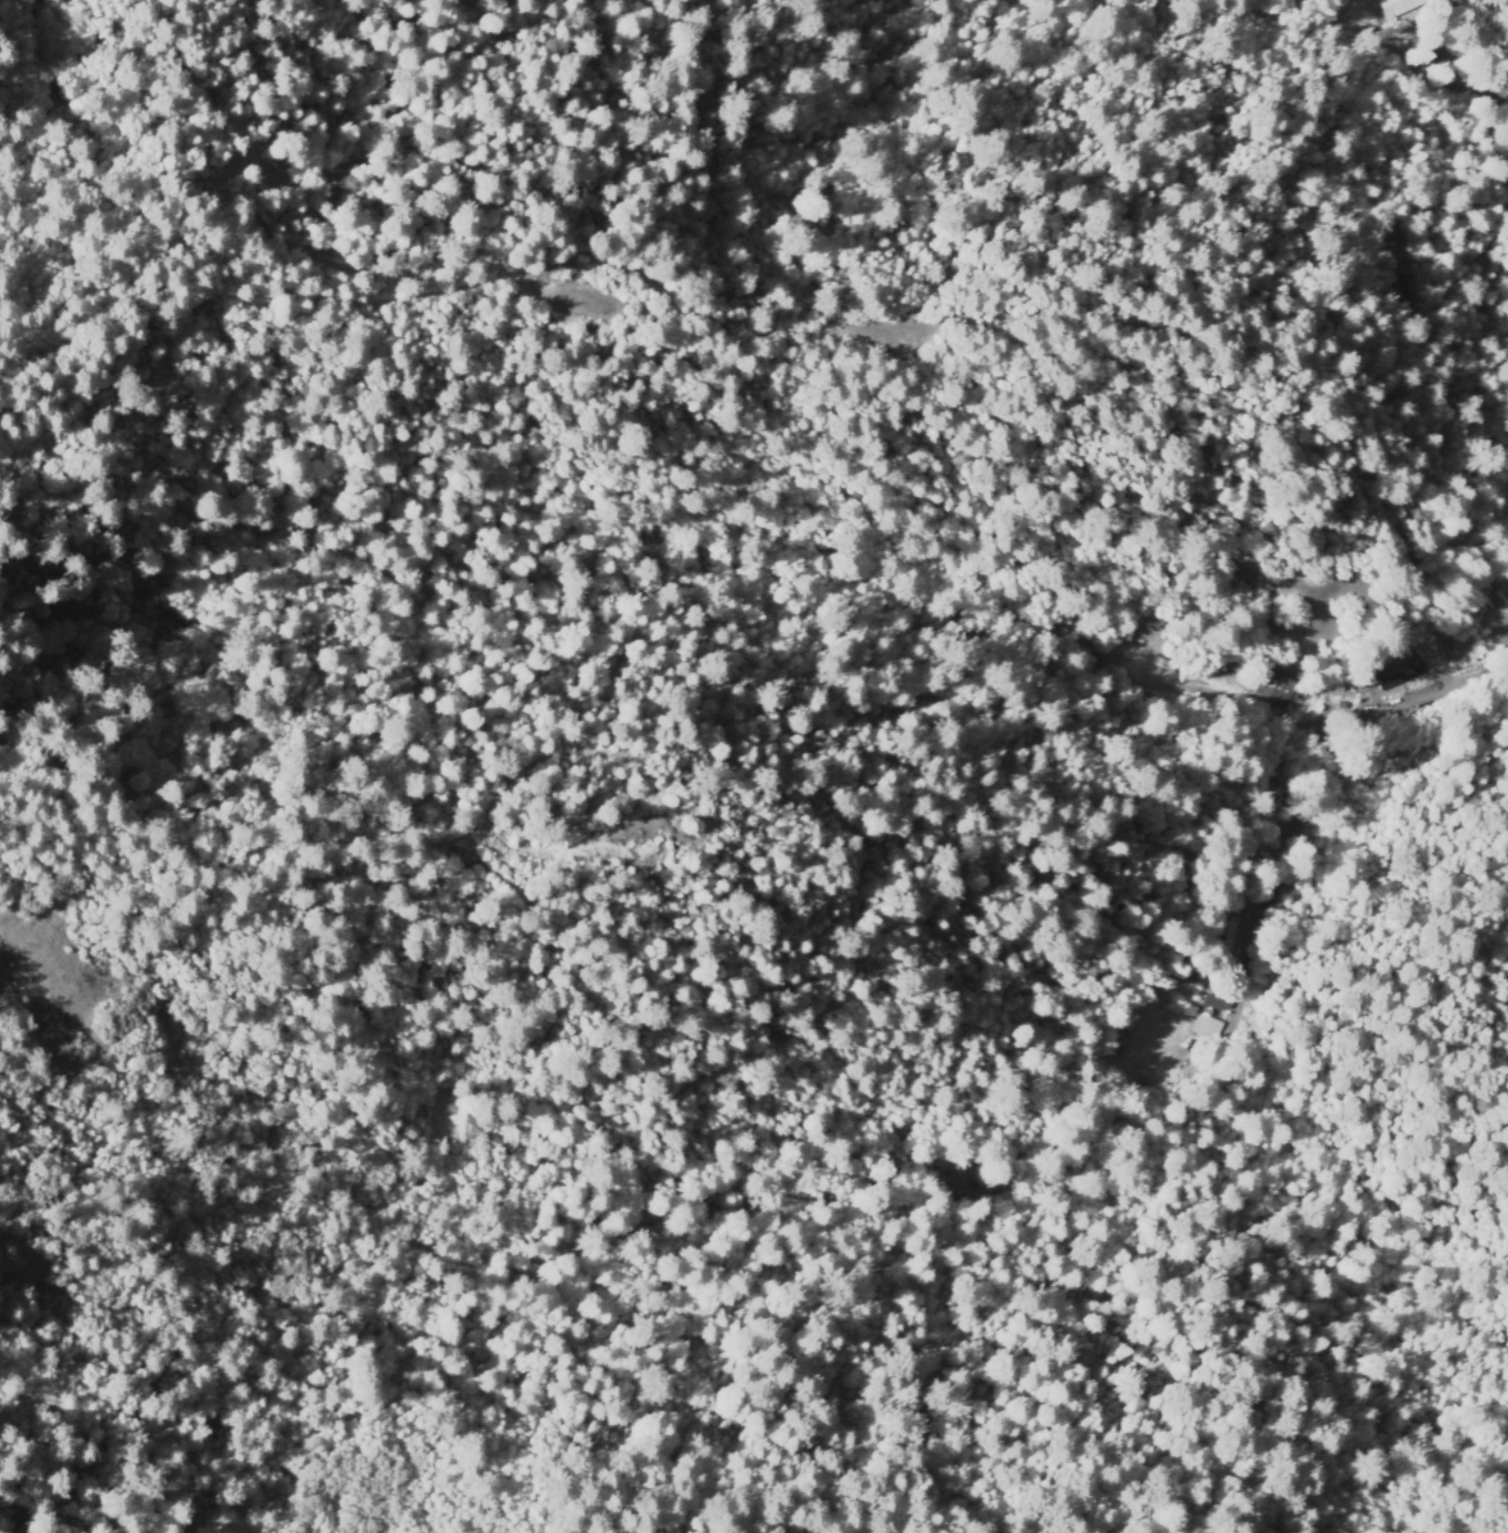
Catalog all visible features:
building: (1389, 7)
park: (946, 19)
road: (1373, 22)
building: (1286, 58)
building: (1399, 672)
building: (1278, 688)
building: (1342, 705)
building: (1291, 902)
building: (1241, 942)
building: (1218, 1002)
building: (1207, 1027)

